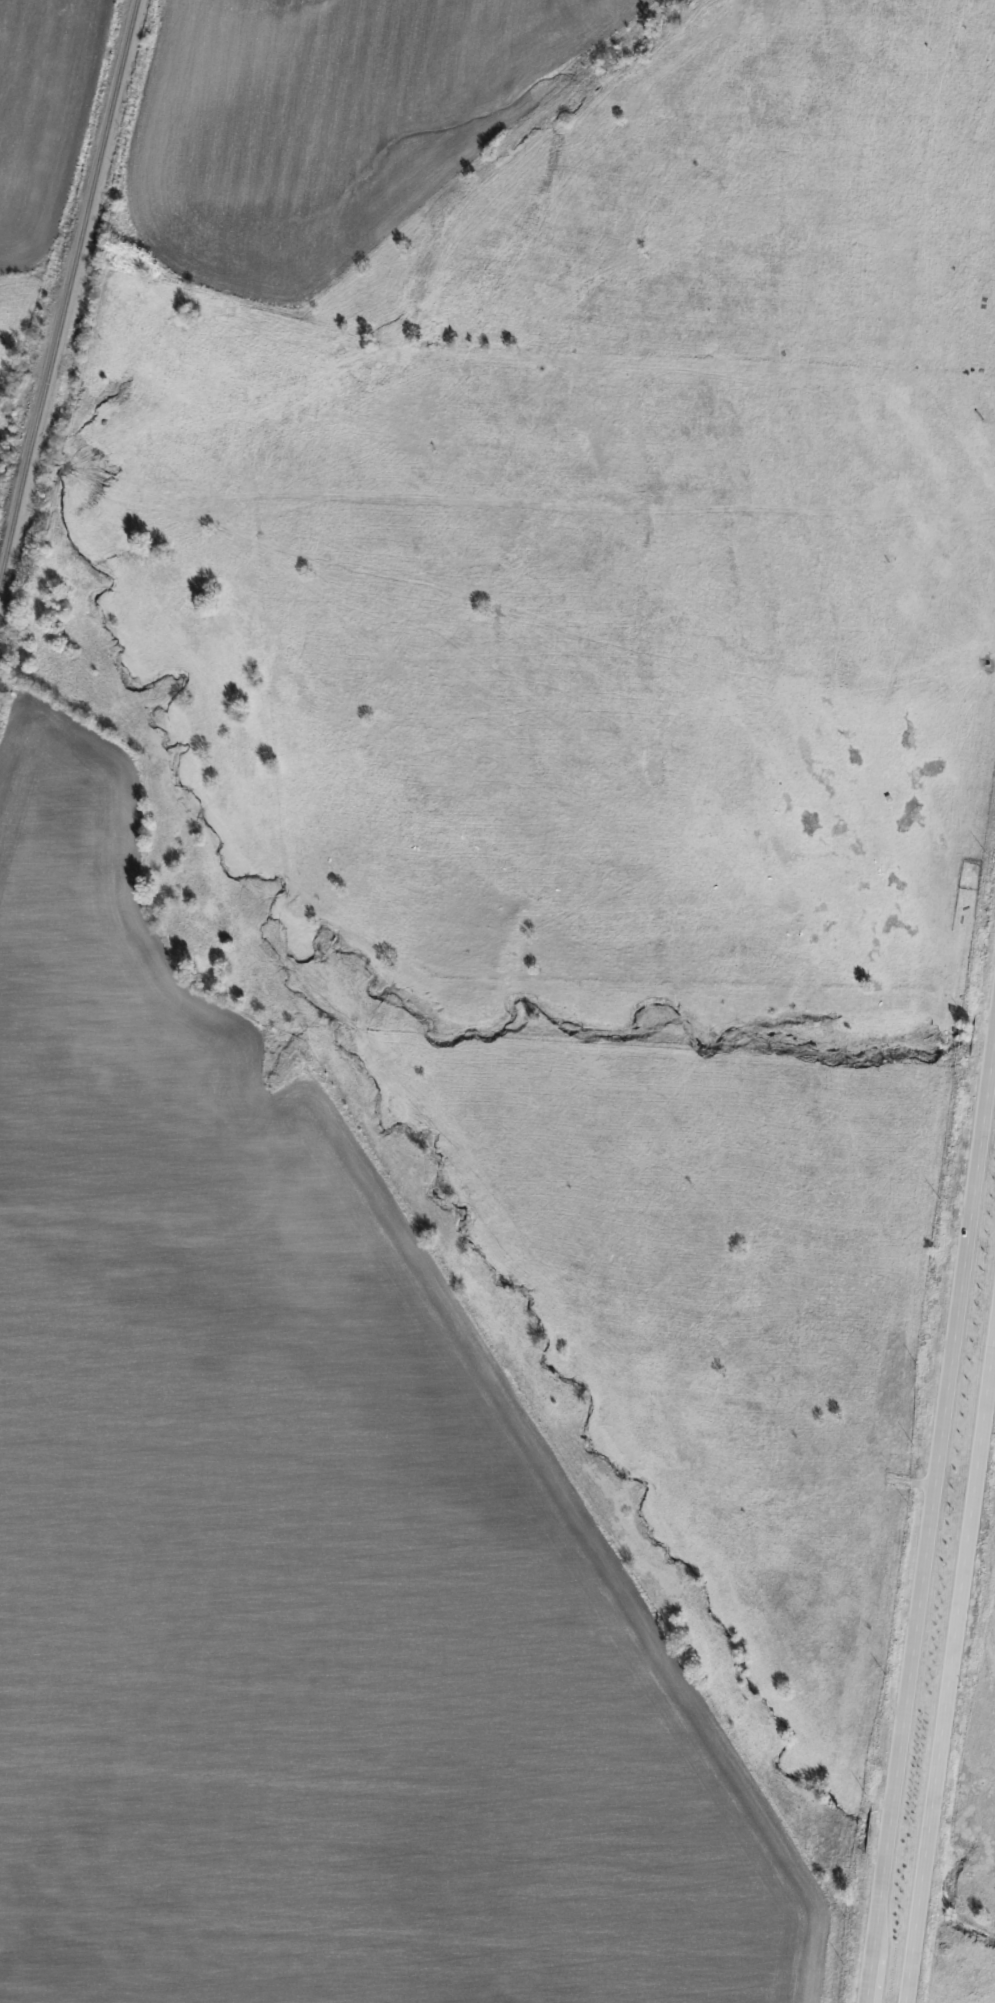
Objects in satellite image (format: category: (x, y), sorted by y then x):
railway: (69, 294)
road: (927, 1496)
road: (948, 1651)

